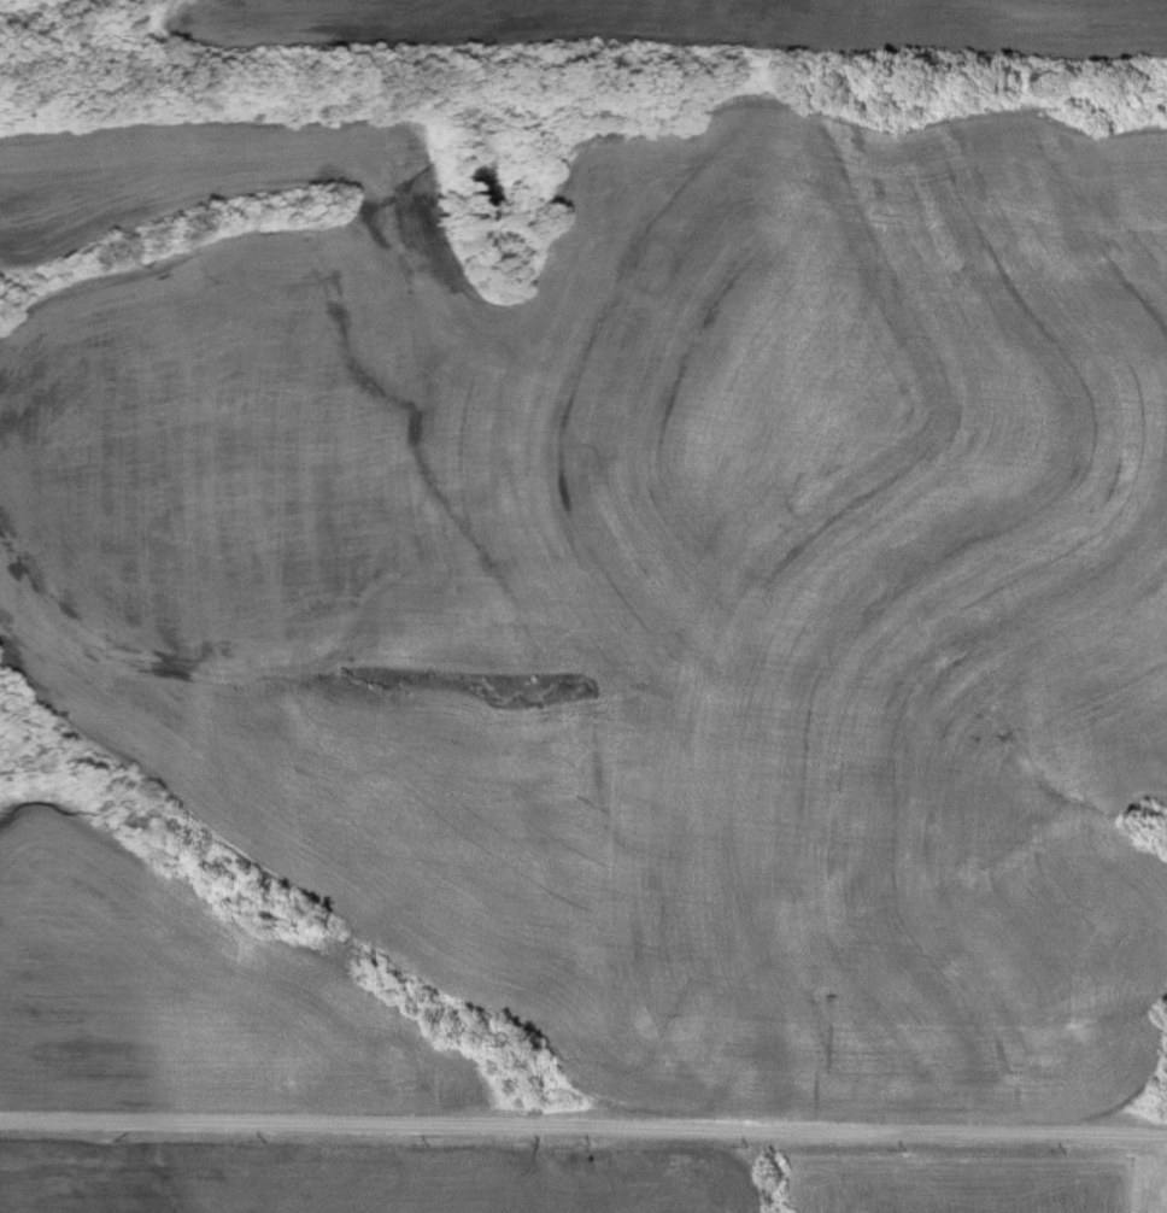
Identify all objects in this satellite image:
road: (582, 1133)

